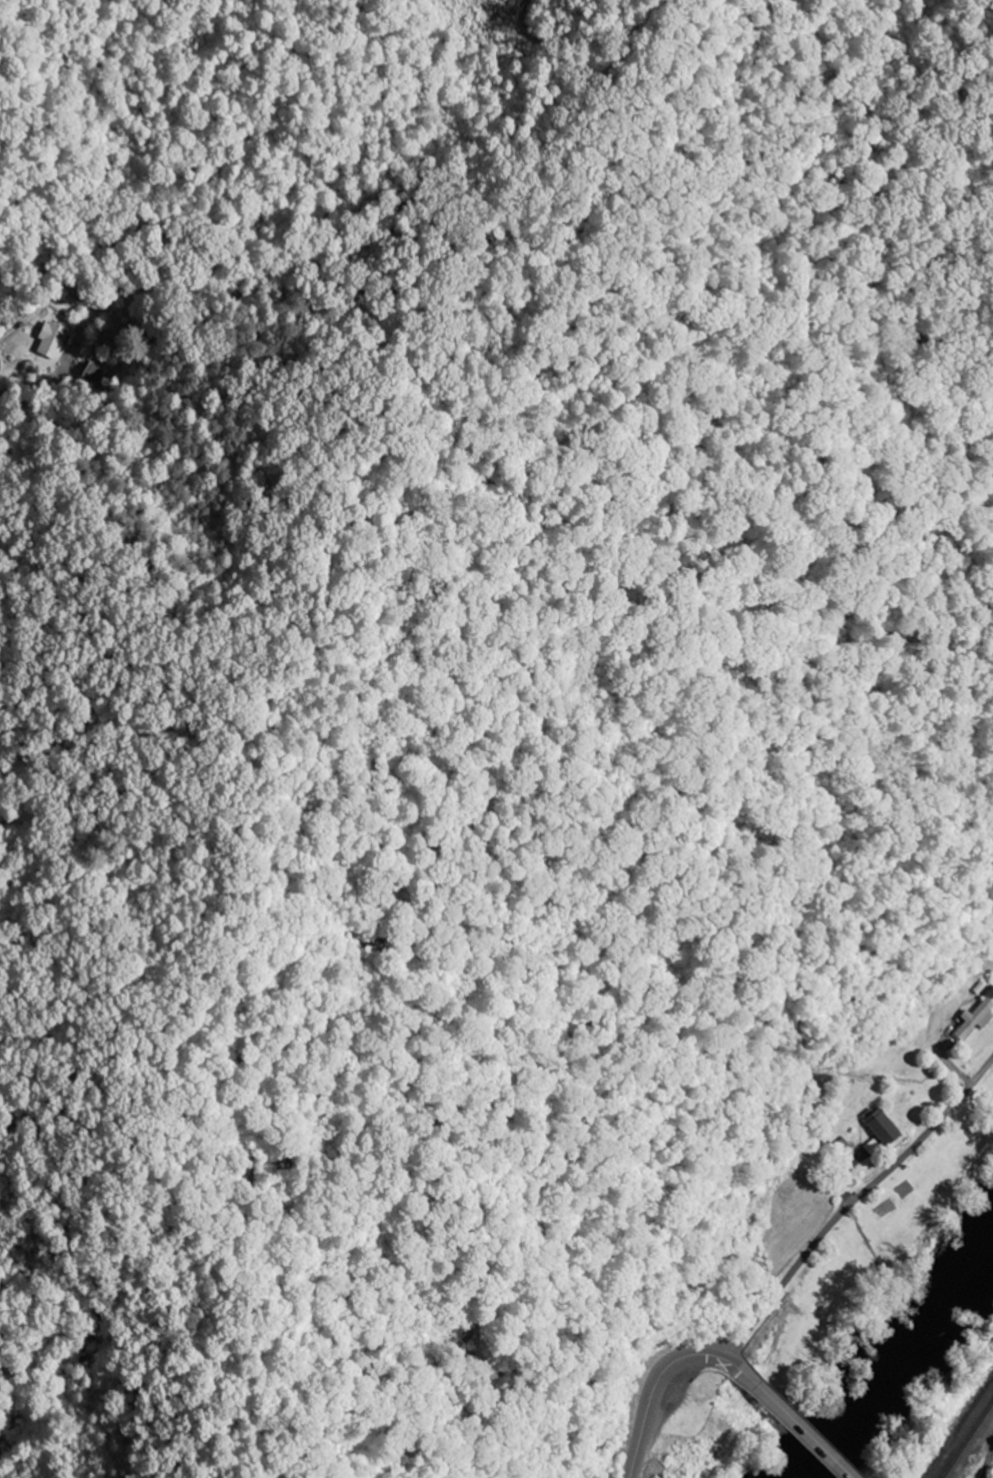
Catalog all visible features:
building: (50, 339)
building: (974, 1019)
building: (881, 1127)
road: (853, 1204)
river: (893, 1336)
road: (659, 1384)
road: (795, 1423)
railway: (968, 1442)

